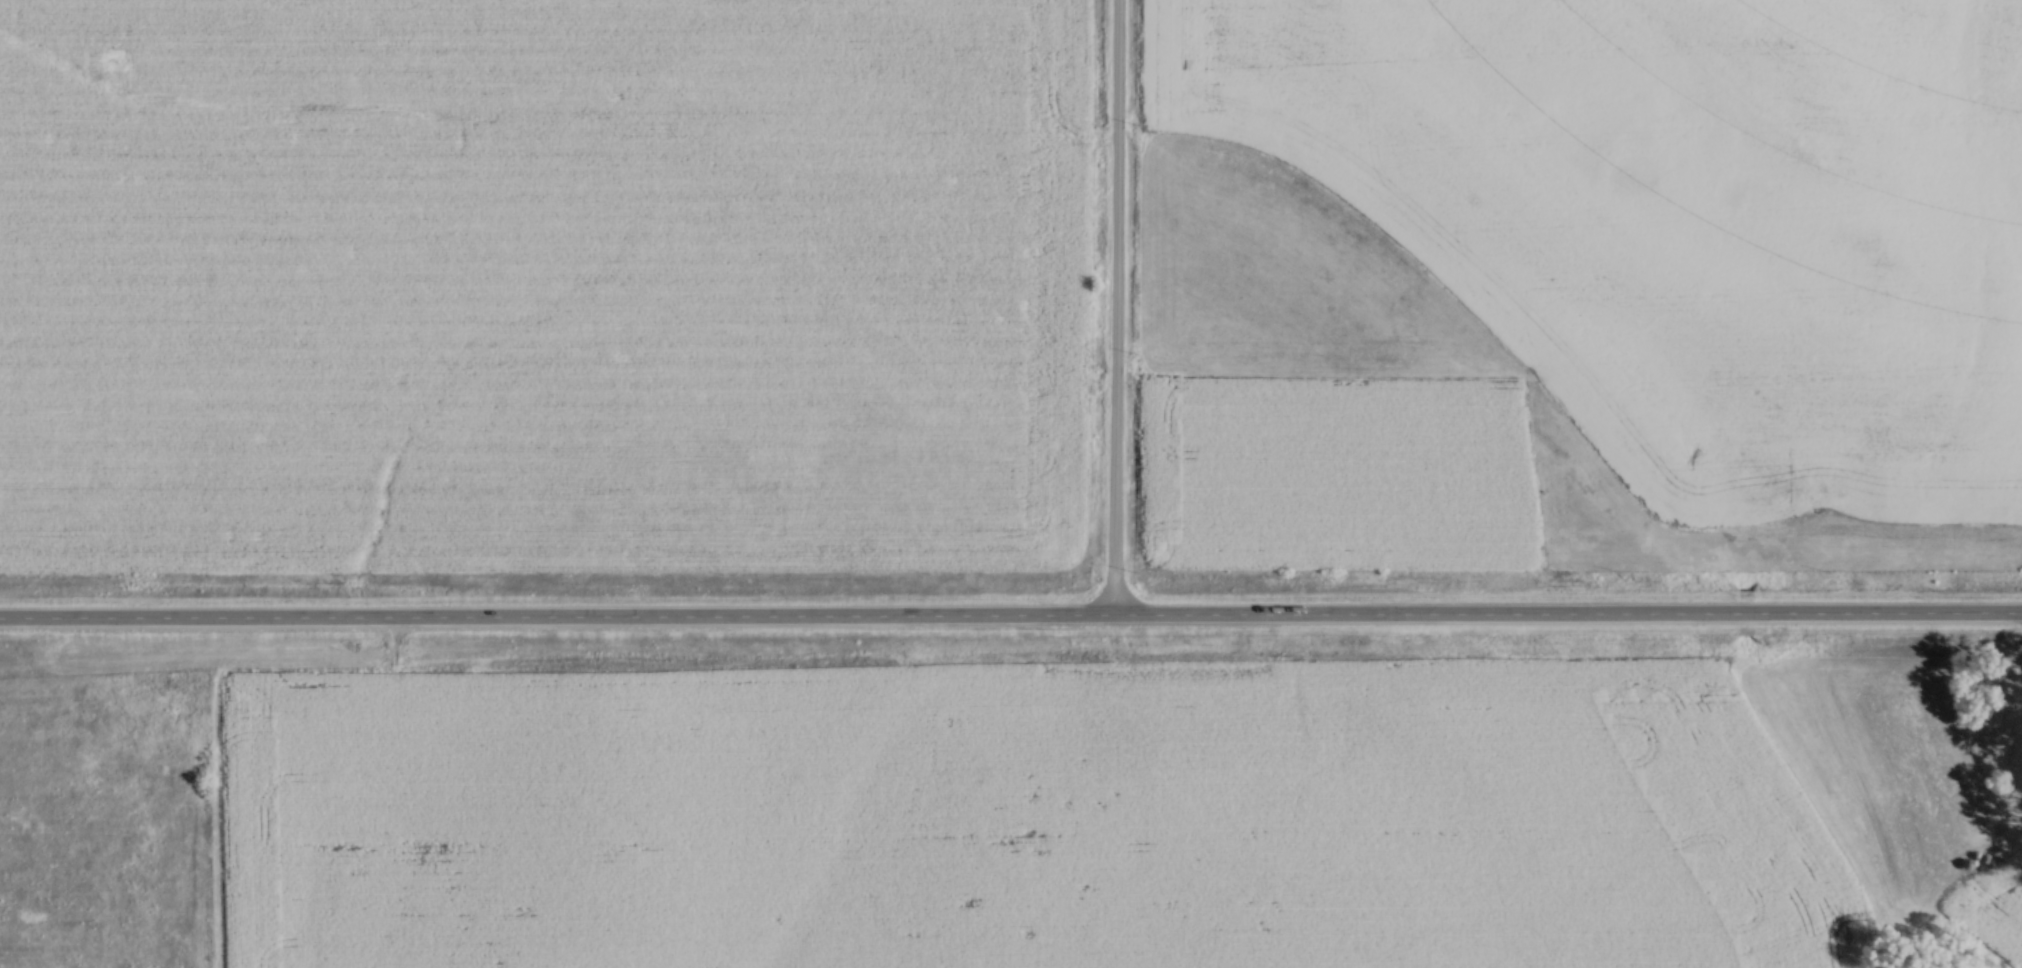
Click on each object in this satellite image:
road: (1116, 310)
road: (1011, 622)

